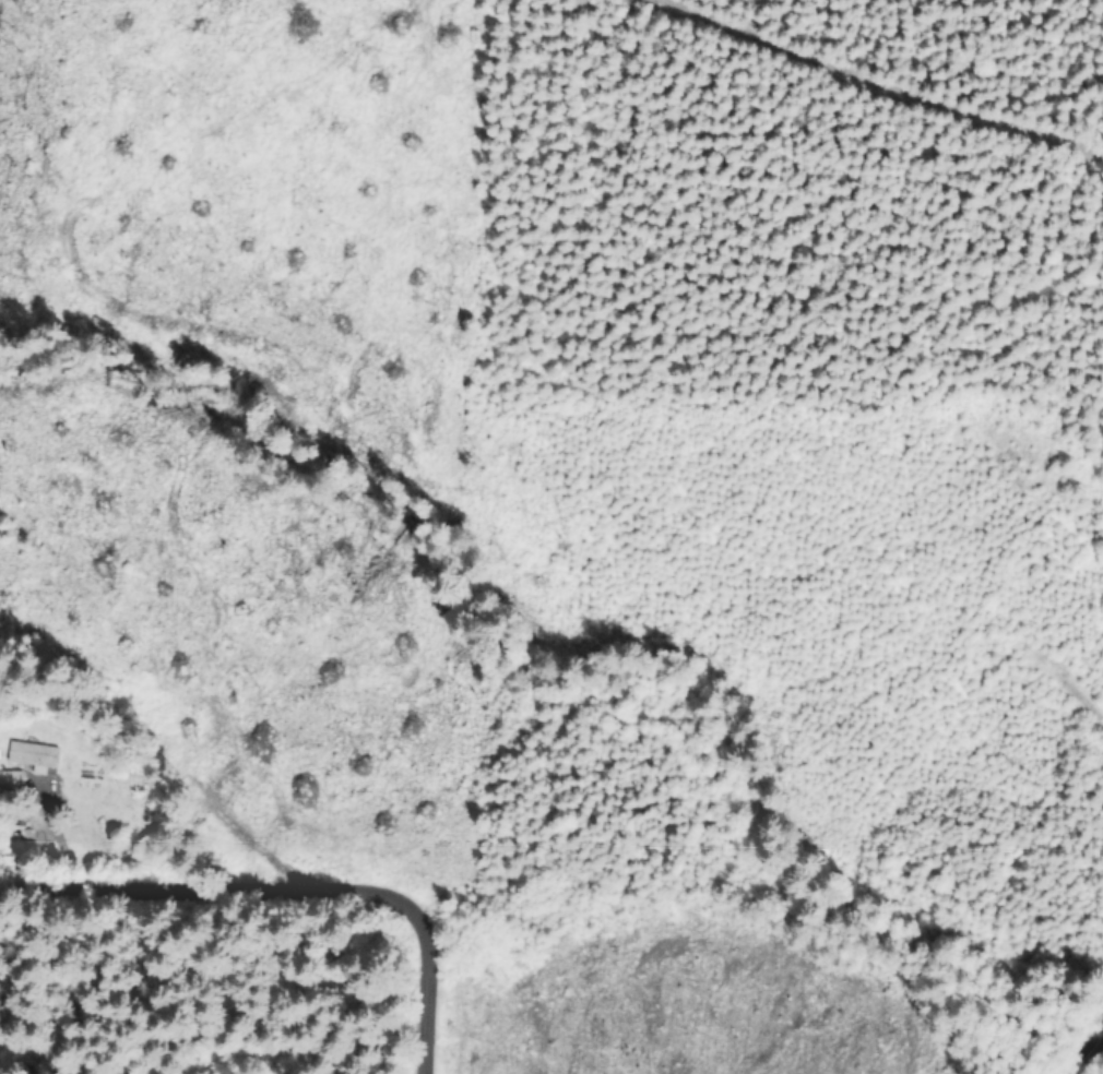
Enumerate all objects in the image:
building: (34, 753)
building: (11, 784)
building: (10, 815)
building: (34, 819)
road: (288, 882)
road: (1082, 1045)

